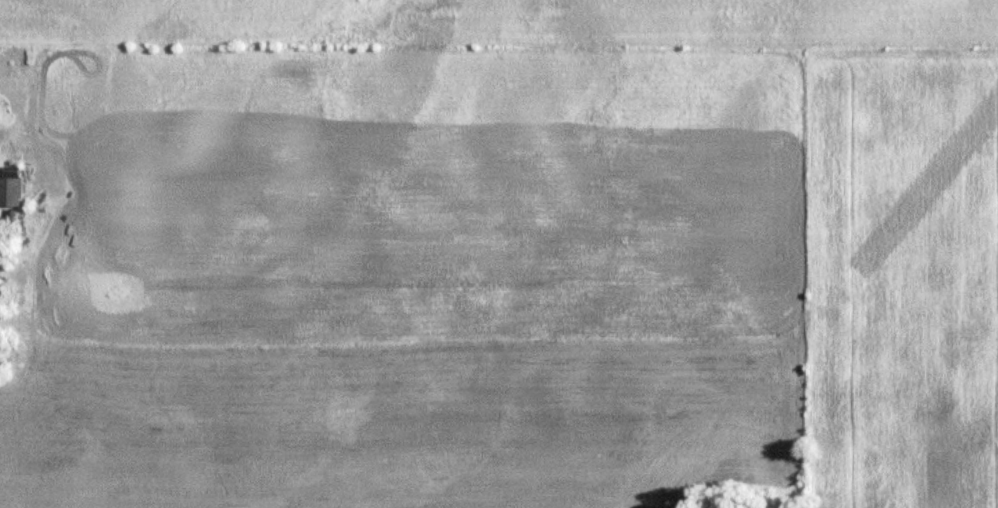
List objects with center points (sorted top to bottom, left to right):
building: (13, 192)

